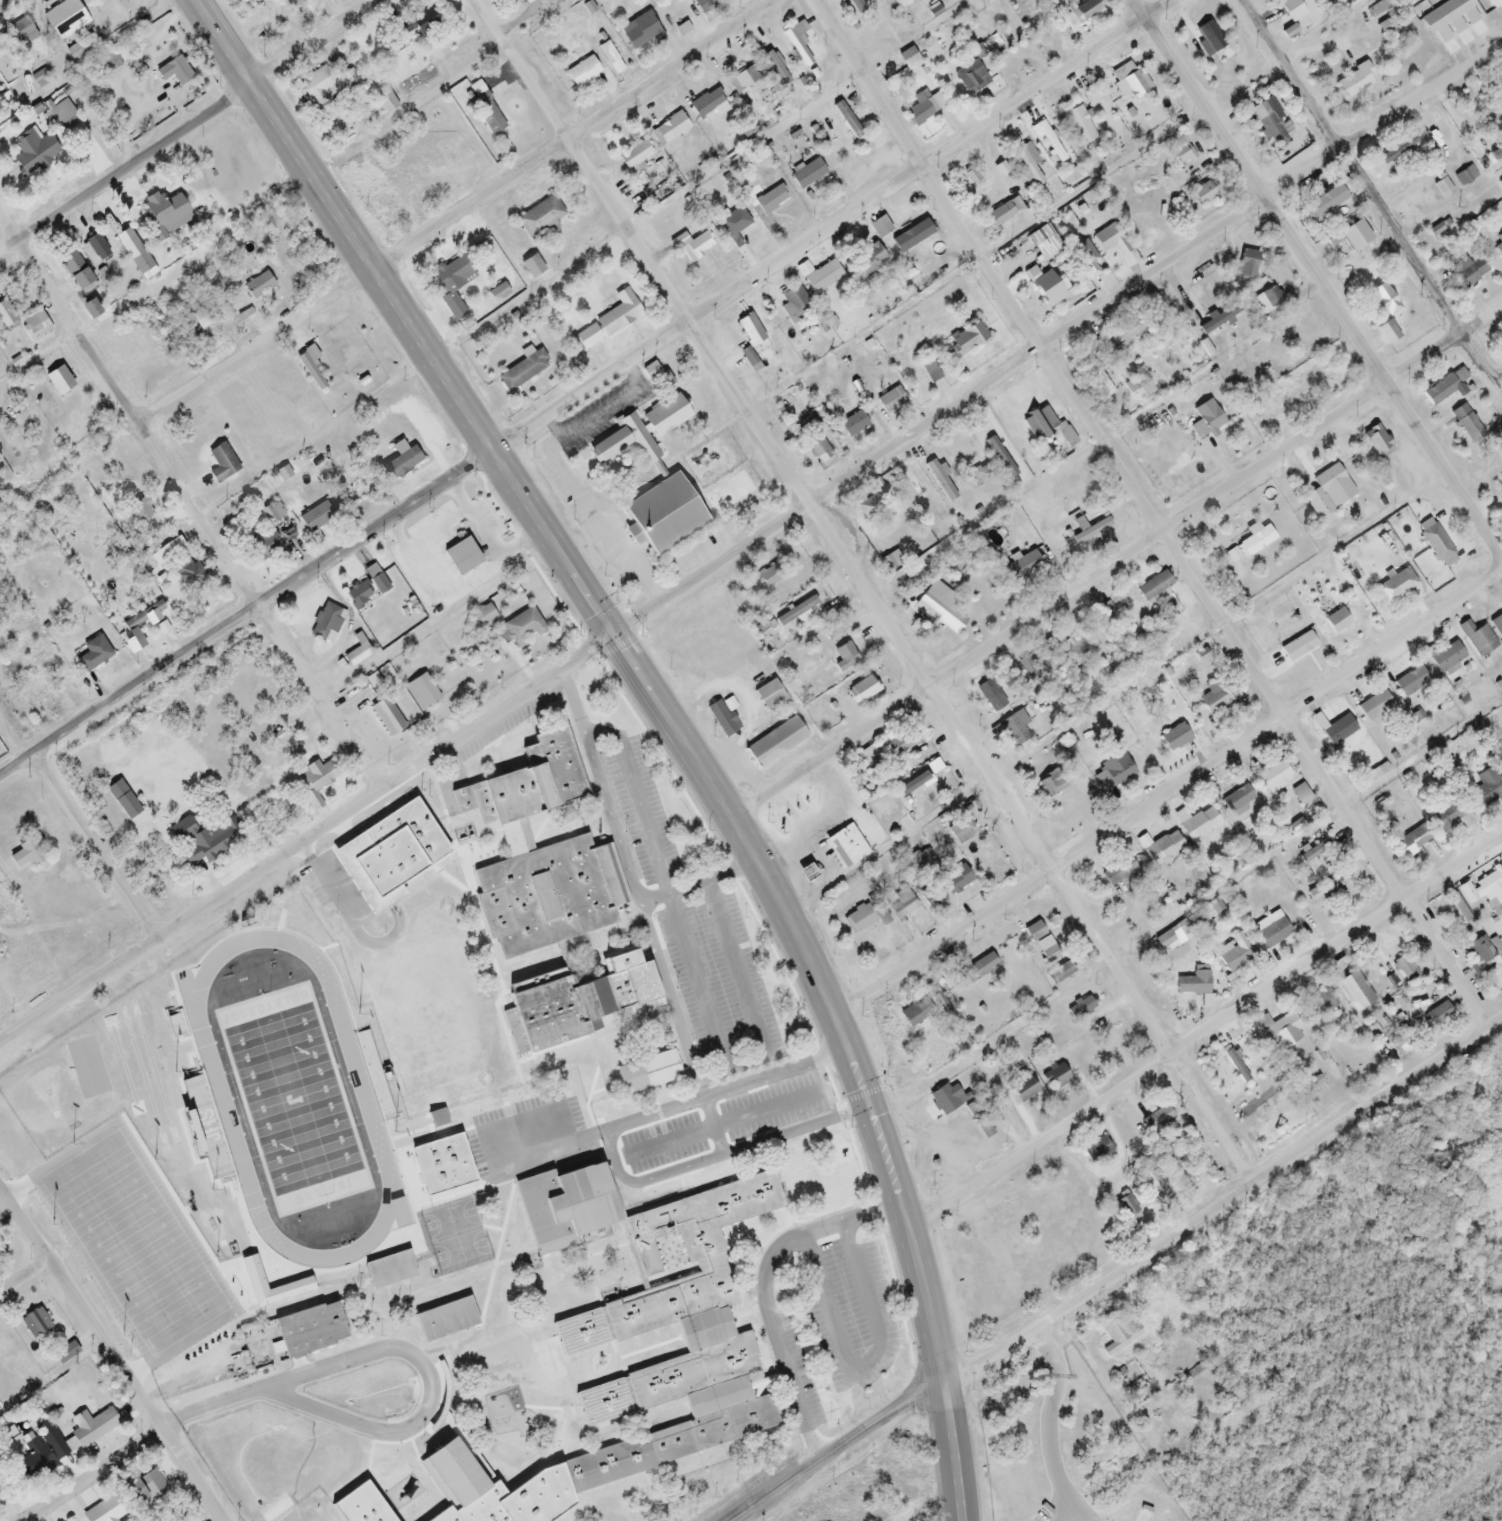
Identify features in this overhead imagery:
building: (241, 1)
building: (855, 6)
building: (1290, 9)
building: (1084, 11)
building: (64, 19)
building: (21, 32)
building: (1209, 37)
building: (797, 40)
building: (908, 60)
building: (613, 63)
building: (582, 72)
building: (971, 78)
building: (743, 79)
building: (1354, 81)
building: (1132, 85)
building: (384, 101)
building: (709, 105)
building: (917, 108)
building: (0, 112)
building: (59, 113)
building: (487, 115)
building: (1483, 116)
building: (1078, 125)
building: (1268, 125)
road: (188, 128)
building: (670, 131)
building: (1047, 140)
building: (1398, 149)
building: (30, 151)
building: (1025, 155)
building: (1180, 155)
building: (635, 156)
building: (807, 174)
building: (1464, 176)
building: (1067, 177)
building: (1443, 189)
building: (1202, 193)
building: (766, 200)
road: (1372, 202)
building: (1323, 204)
road: (455, 213)
building: (1001, 213)
building: (539, 219)
building: (733, 224)
building: (896, 234)
building: (1331, 237)
building: (1042, 240)
building: (1111, 240)
building: (699, 244)
building: (1498, 249)
building: (132, 252)
building: (1086, 260)
building: (867, 261)
building: (1246, 264)
building: (531, 267)
building: (1469, 272)
building: (75, 273)
building: (822, 278)
road: (1319, 279)
building: (451, 284)
building: (258, 286)
building: (1046, 290)
building: (497, 293)
building: (1268, 299)
building: (793, 300)
building: (1382, 301)
building: (615, 314)
building: (34, 325)
building: (749, 330)
building: (1384, 335)
building: (966, 339)
road: (38, 359)
building: (750, 360)
building: (69, 365)
building: (1094, 365)
road: (1212, 365)
building: (522, 371)
building: (309, 372)
building: (930, 373)
building: (50, 381)
building: (1443, 387)
road: (584, 389)
building: (890, 400)
building: (1269, 410)
road: (606, 416)
building: (664, 416)
building: (1207, 416)
building: (1466, 423)
building: (852, 425)
building: (1045, 426)
building: (624, 442)
building: (1377, 442)
building: (999, 458)
building: (401, 463)
building: (979, 475)
building: (940, 481)
building: (1327, 493)
road: (188, 503)
building: (869, 508)
road: (1145, 511)
building: (143, 512)
building: (272, 513)
building: (659, 513)
building: (314, 517)
road: (601, 520)
building: (1087, 529)
building: (1256, 541)
road: (750, 543)
building: (263, 546)
building: (1437, 546)
building: (458, 554)
road: (1116, 560)
building: (183, 566)
building: (1022, 568)
building: (957, 570)
building: (768, 576)
building: (376, 580)
building: (1153, 587)
building: (1392, 588)
road: (861, 589)
building: (360, 593)
building: (939, 608)
building: (794, 612)
building: (482, 616)
building: (324, 624)
building: (519, 629)
building: (1477, 639)
building: (1298, 647)
building: (1079, 649)
building: (93, 654)
building: (845, 656)
building: (1446, 658)
road: (634, 663)
building: (1407, 684)
building: (861, 690)
building: (421, 693)
building: (768, 695)
building: (1218, 699)
building: (1374, 706)
building: (386, 718)
building: (721, 718)
building: (1012, 730)
building: (1338, 731)
building: (1174, 738)
building: (772, 742)
building: (895, 746)
building: (1501, 764)
building: (1113, 772)
building: (920, 777)
building: (1273, 778)
building: (310, 780)
building: (525, 784)
building: (1050, 784)
building: (1486, 789)
road: (1168, 792)
building: (1300, 794)
building: (1236, 800)
building: (1449, 815)
building: (1199, 825)
building: (958, 830)
road: (1305, 831)
building: (1413, 840)
building: (842, 845)
road: (889, 845)
road: (92, 846)
building: (1163, 849)
road: (802, 850)
building: (1313, 851)
building: (367, 868)
building: (1117, 871)
building: (954, 881)
building: (1324, 892)
building: (1485, 893)
building: (547, 898)
building: (932, 898)
building: (902, 901)
building: (1451, 911)
building: (864, 916)
building: (1272, 934)
building: (1040, 942)
building: (1233, 955)
building: (1481, 962)
building: (1402, 964)
building: (975, 971)
building: (1193, 983)
building: (1354, 991)
building: (939, 1002)
building: (1318, 1005)
building: (1080, 1009)
building: (557, 1012)
building: (1437, 1013)
road: (1205, 1025)
building: (1283, 1031)
building: (1399, 1048)
park: (101, 1072)
building: (643, 1072)
building: (1471, 1075)
building: (1024, 1091)
building: (946, 1099)
track: (293, 1103)
building: (562, 1107)
park: (296, 1109)
building: (1156, 1120)
building: (200, 1124)
road: (671, 1145)
building: (1094, 1149)
building: (414, 1153)
road: (1222, 1199)
building: (564, 1206)
building: (1126, 1207)
building: (384, 1267)
road: (21, 1270)
road: (768, 1292)
building: (440, 1318)
building: (308, 1330)
building: (1115, 1334)
road: (111, 1354)
building: (1041, 1354)
road: (400, 1355)
building: (1010, 1394)
building: (1102, 1406)
road: (1054, 1424)
building: (88, 1428)
road: (835, 1449)
road: (955, 1453)
building: (36, 1457)
building: (605, 1461)
building: (445, 1472)
road: (86, 1475)
park: (330, 1485)
building: (146, 1488)
building: (102, 1512)
building: (489, 1513)

